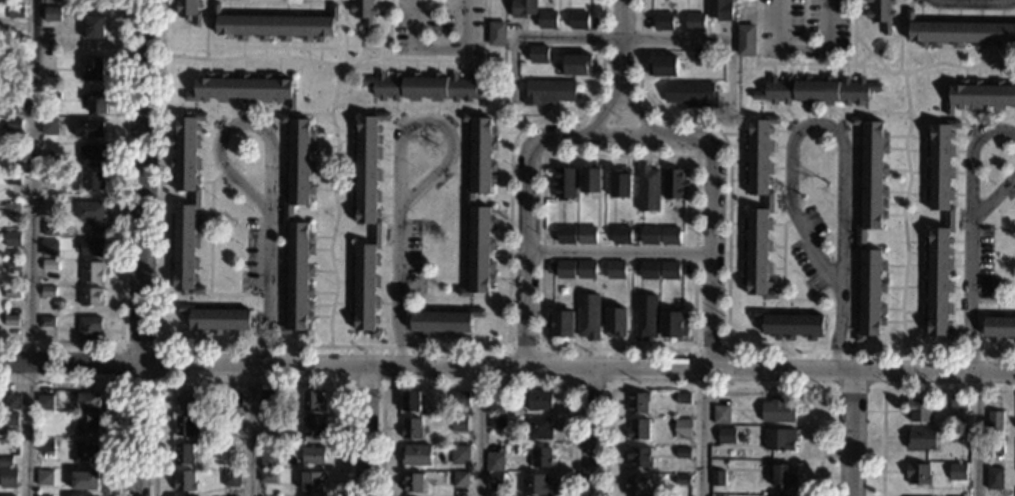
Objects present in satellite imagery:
road: (338, 0)
road: (970, 1)
road: (207, 2)
road: (339, 2)
building: (523, 8)
building: (720, 10)
building: (189, 11)
building: (363, 12)
building: (15, 13)
building: (51, 13)
building: (880, 13)
building: (548, 20)
building: (579, 20)
building: (664, 22)
building: (695, 22)
road: (781, 23)
building: (274, 25)
building: (92, 28)
road: (388, 29)
road: (486, 31)
road: (853, 32)
building: (960, 33)
building: (496, 34)
road: (899, 35)
road: (590, 37)
building: (15, 40)
road: (364, 40)
building: (745, 41)
road: (828, 45)
road: (876, 46)
road: (621, 47)
road: (436, 48)
building: (538, 55)
road: (873, 55)
road: (360, 57)
building: (702, 57)
road: (323, 62)
building: (578, 65)
building: (662, 67)
building: (92, 69)
road: (888, 72)
building: (424, 87)
building: (243, 89)
building: (816, 91)
building: (548, 92)
building: (691, 94)
building: (52, 96)
building: (980, 96)
building: (13, 99)
building: (96, 103)
road: (367, 105)
road: (642, 111)
road: (868, 111)
road: (292, 112)
road: (601, 113)
road: (947, 118)
road: (433, 123)
road: (235, 124)
road: (811, 124)
building: (10, 125)
building: (48, 127)
building: (88, 128)
road: (543, 136)
road: (625, 137)
road: (696, 137)
building: (12, 152)
building: (91, 156)
building: (46, 174)
road: (1014, 175)
building: (590, 180)
building: (11, 181)
building: (92, 181)
building: (563, 183)
building: (619, 184)
building: (672, 184)
building: (647, 189)
road: (970, 190)
building: (470, 200)
building: (767, 202)
building: (185, 204)
road: (335, 205)
building: (10, 209)
road: (903, 211)
building: (90, 214)
building: (366, 220)
building: (297, 226)
building: (871, 226)
building: (49, 230)
road: (121, 231)
building: (939, 231)
building: (565, 235)
building: (621, 235)
building: (586, 236)
building: (649, 236)
building: (671, 236)
building: (11, 240)
road: (28, 247)
building: (90, 248)
road: (139, 248)
building: (48, 249)
road: (620, 253)
road: (453, 255)
road: (525, 255)
road: (208, 257)
road: (714, 260)
building: (10, 266)
building: (48, 270)
building: (565, 270)
building: (585, 270)
building: (615, 271)
building: (648, 271)
building: (669, 271)
building: (91, 273)
road: (782, 282)
road: (394, 288)
road: (267, 289)
road: (727, 290)
building: (47, 292)
building: (11, 293)
road: (968, 296)
building: (89, 298)
road: (991, 301)
building: (588, 317)
building: (645, 317)
building: (218, 319)
building: (10, 321)
building: (442, 321)
building: (46, 322)
building: (616, 323)
building: (560, 324)
building: (671, 325)
building: (789, 325)
building: (999, 327)
building: (88, 328)
road: (840, 333)
road: (364, 346)
road: (540, 349)
road: (507, 350)
road: (727, 351)
road: (507, 366)
road: (117, 380)
road: (119, 381)
road: (250, 381)
road: (365, 383)
road: (475, 384)
road: (608, 385)
road: (713, 387)
road: (834, 387)
road: (895, 389)
building: (267, 398)
building: (462, 398)
building: (683, 398)
building: (87, 399)
building: (189, 400)
building: (232, 400)
building: (313, 400)
building: (11, 401)
building: (411, 401)
building: (539, 401)
building: (44, 402)
building: (637, 402)
building: (957, 406)
building: (497, 409)
building: (919, 410)
building: (778, 411)
building: (720, 415)
building: (9, 418)
building: (268, 421)
building: (497, 422)
building: (231, 424)
building: (459, 424)
building: (85, 425)
building: (183, 426)
building: (312, 426)
building: (995, 426)
road: (252, 429)
building: (410, 429)
building: (539, 429)
building: (636, 429)
building: (682, 429)
road: (365, 430)
road: (477, 431)
road: (590, 431)
road: (700, 432)
road: (851, 433)
road: (975, 433)
building: (958, 435)
building: (726, 436)
building: (921, 439)
building: (779, 440)
building: (46, 446)
building: (995, 448)
building: (231, 449)
building: (85, 453)
building: (682, 453)
building: (182, 455)
building: (313, 455)
building: (459, 455)
building: (416, 456)
building: (540, 457)
building: (639, 457)
building: (268, 459)
building: (4, 461)
building: (495, 461)
building: (958, 472)
building: (918, 474)
building: (7, 477)
building: (44, 477)
building: (267, 477)
building: (783, 477)
building: (994, 478)
building: (231, 479)
building: (717, 479)
building: (84, 480)
building: (460, 480)
building: (494, 480)
building: (681, 480)
building: (184, 482)
building: (312, 482)
building: (413, 483)
building: (535, 485)
building: (636, 486)
building: (7, 495)

